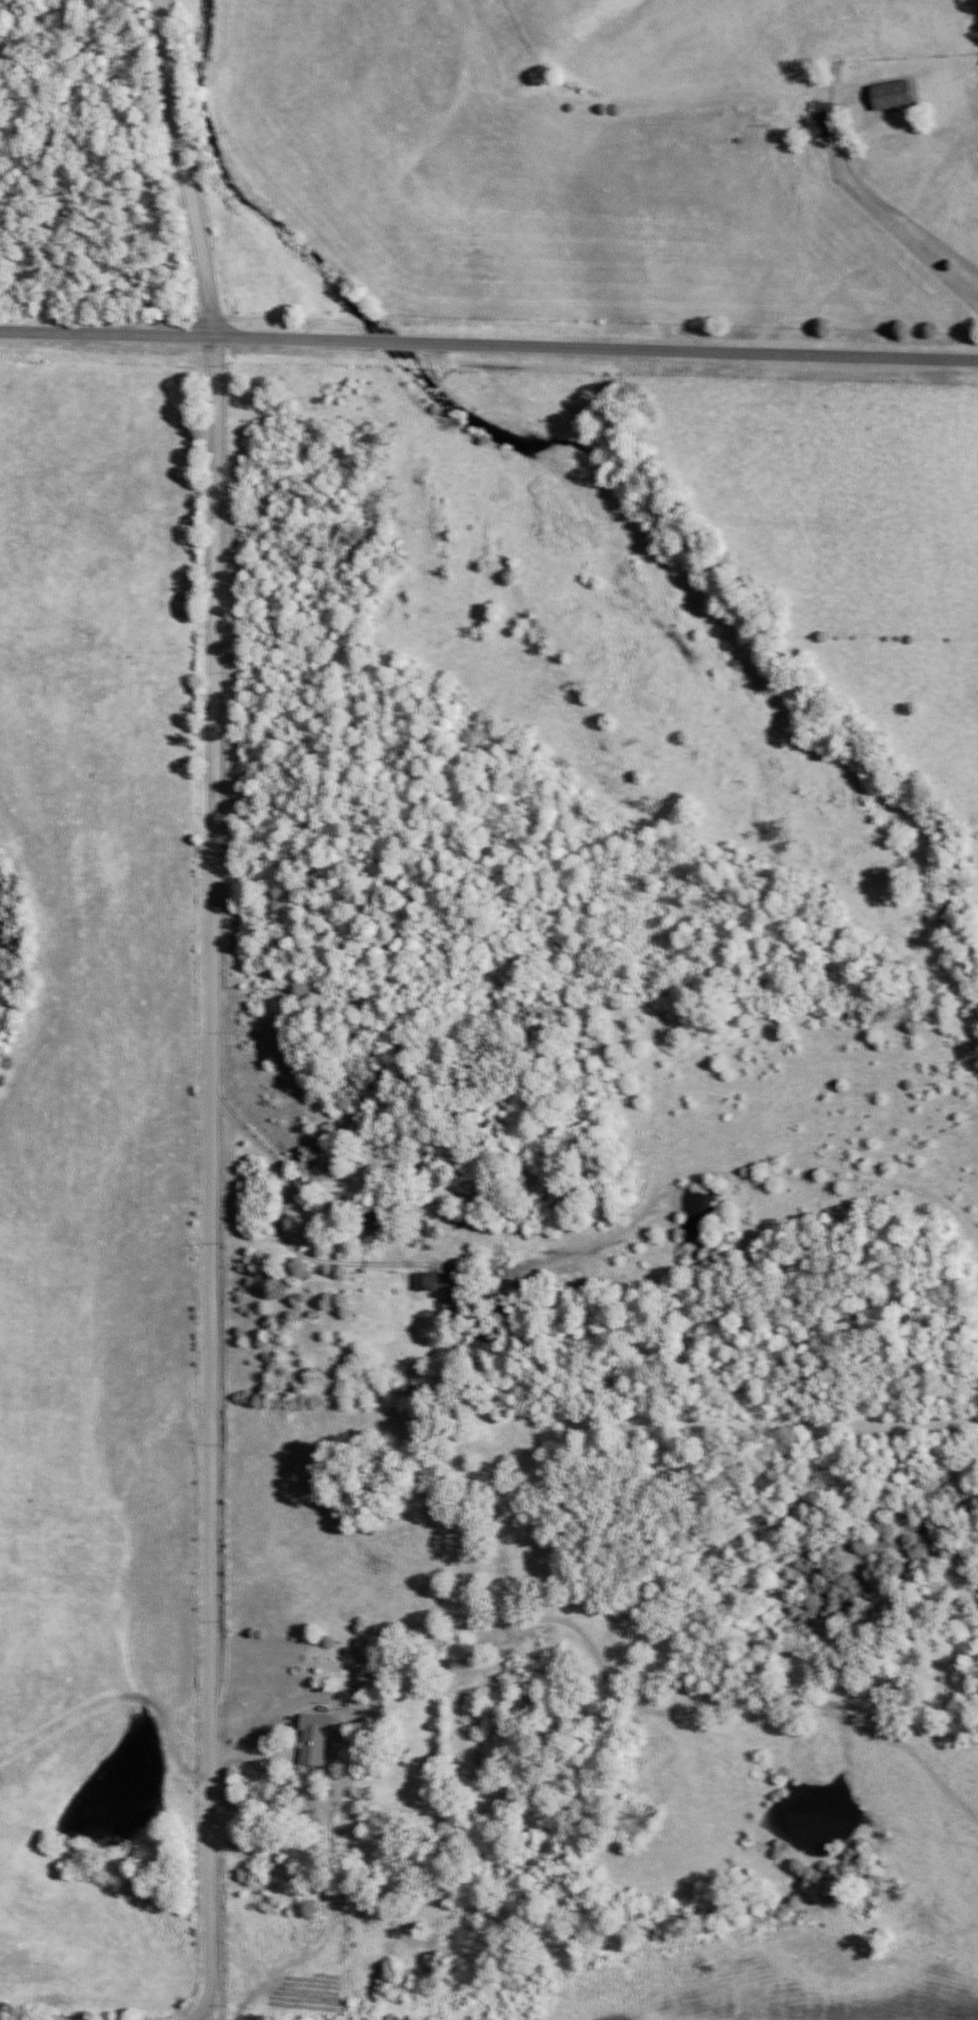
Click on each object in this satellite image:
building: (892, 101)
building: (821, 134)
park: (92, 169)
road: (489, 344)
road: (211, 1012)
building: (340, 1206)
building: (425, 1288)
building: (315, 1743)

